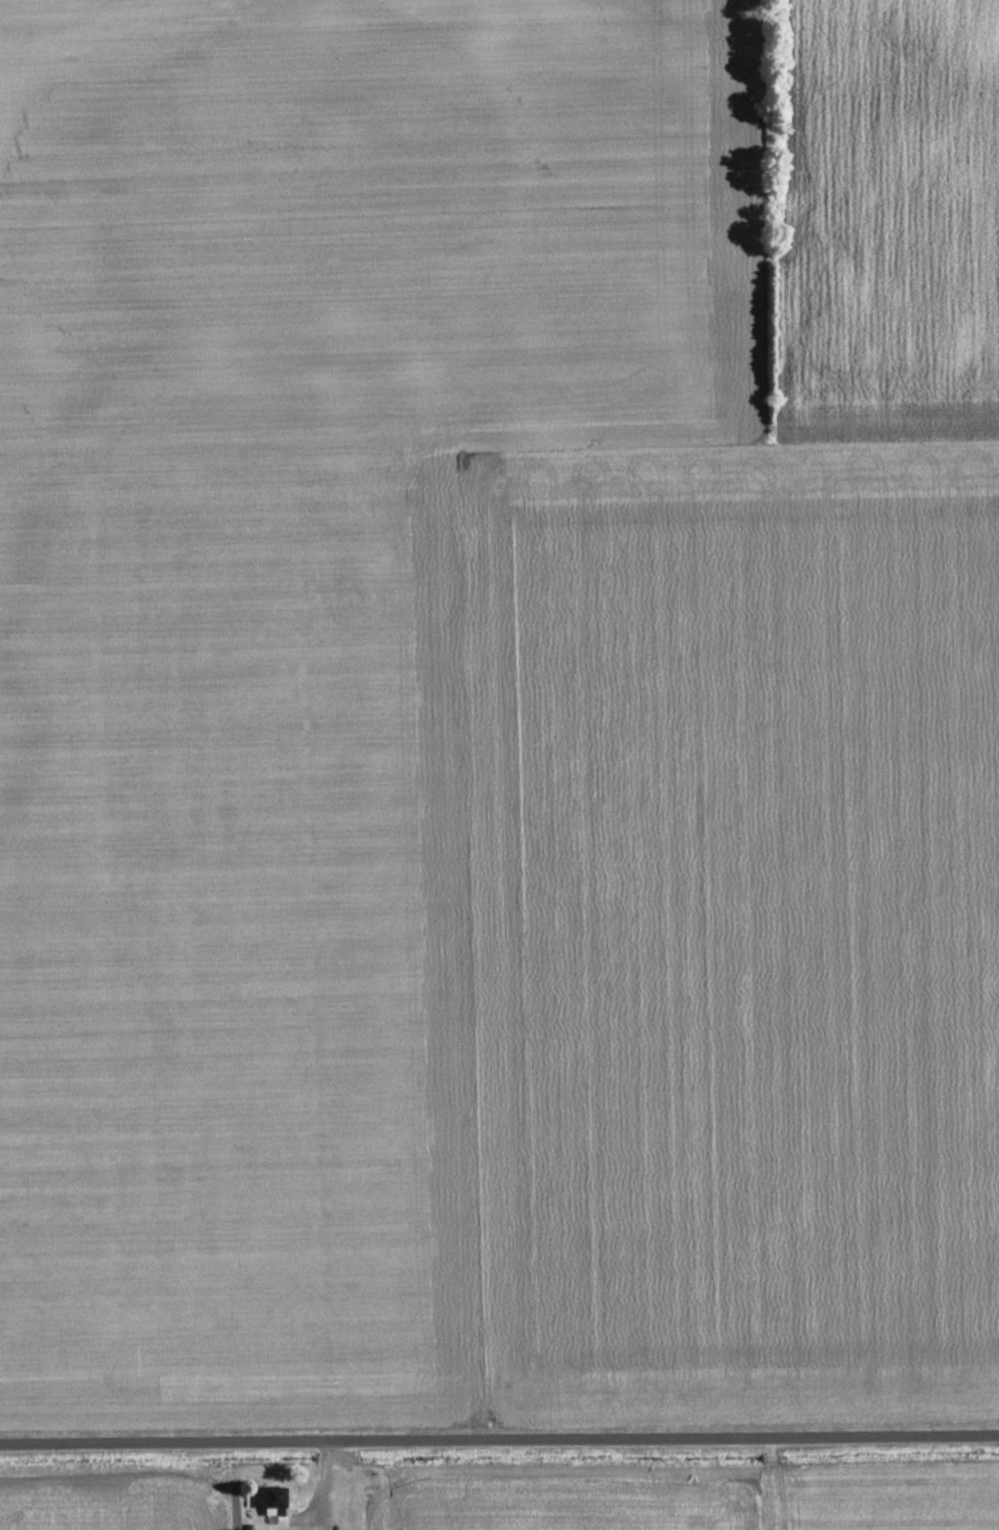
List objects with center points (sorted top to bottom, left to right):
crop: (295, 636)
crop: (759, 812)
road: (499, 1440)
crop: (881, 1501)
crop: (592, 1502)
crop: (116, 1512)

